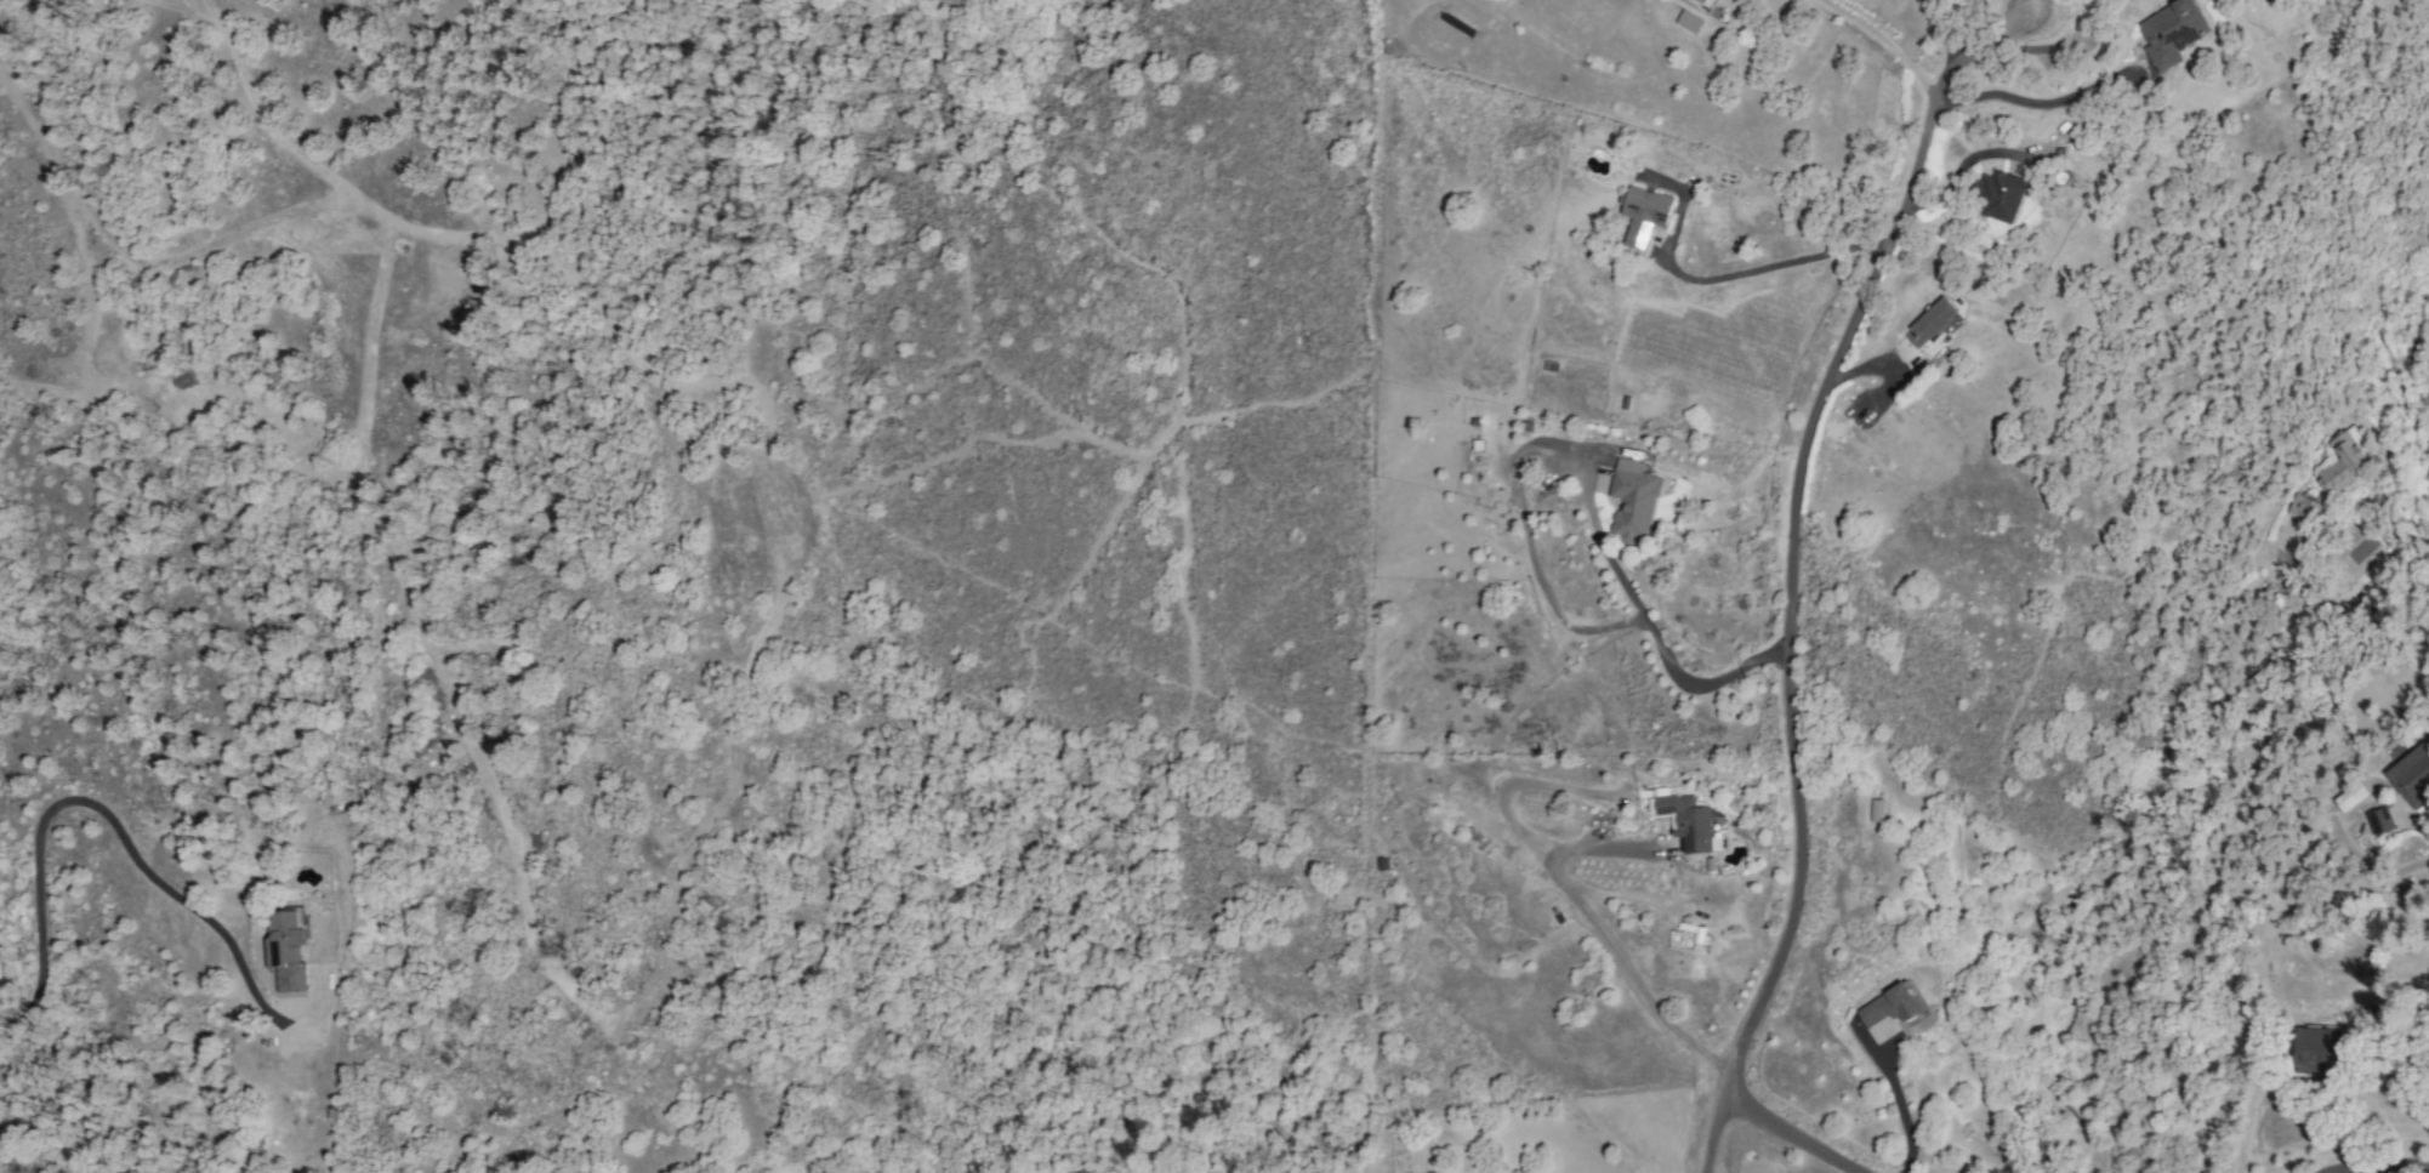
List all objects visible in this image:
building: (1702, 1)
building: (1688, 22)
road: (1939, 30)
building: (2171, 33)
road: (1884, 40)
road: (2032, 103)
road: (1959, 166)
building: (1998, 195)
building: (1644, 216)
road: (1776, 266)
building: (1929, 323)
building: (2342, 463)
building: (1631, 500)
building: (2302, 508)
road: (1790, 564)
road: (2351, 608)
road: (1668, 670)
building: (2411, 776)
building: (2346, 795)
road: (93, 803)
building: (1875, 810)
building: (2378, 821)
building: (1685, 822)
road: (1612, 947)
building: (286, 949)
building: (1888, 1007)
building: (2319, 1049)
road: (1902, 1116)
road: (2242, 1129)
road: (1788, 1135)
road: (2379, 1168)

